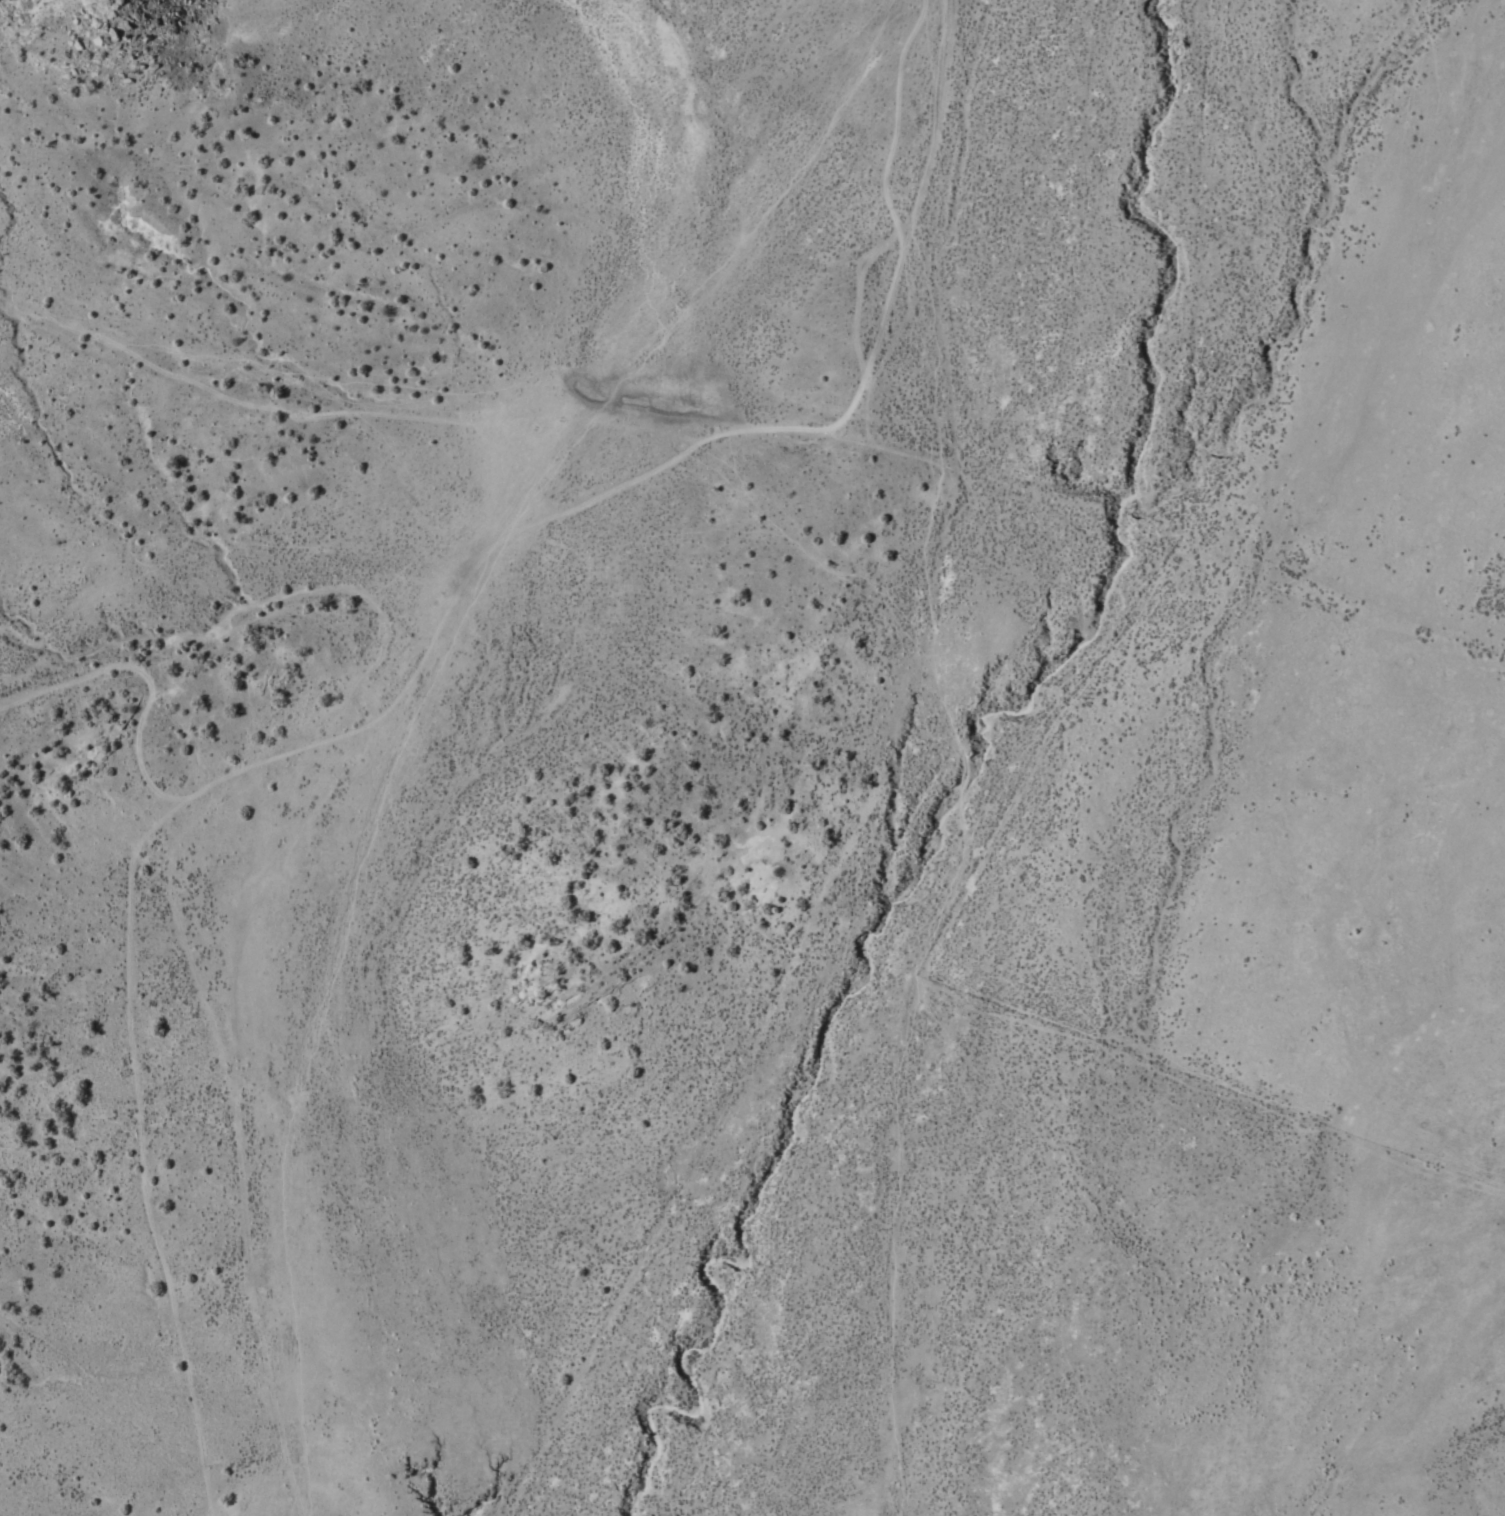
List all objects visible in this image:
road: (622, 411)
road: (401, 598)
road: (773, 941)
road: (625, 1174)

